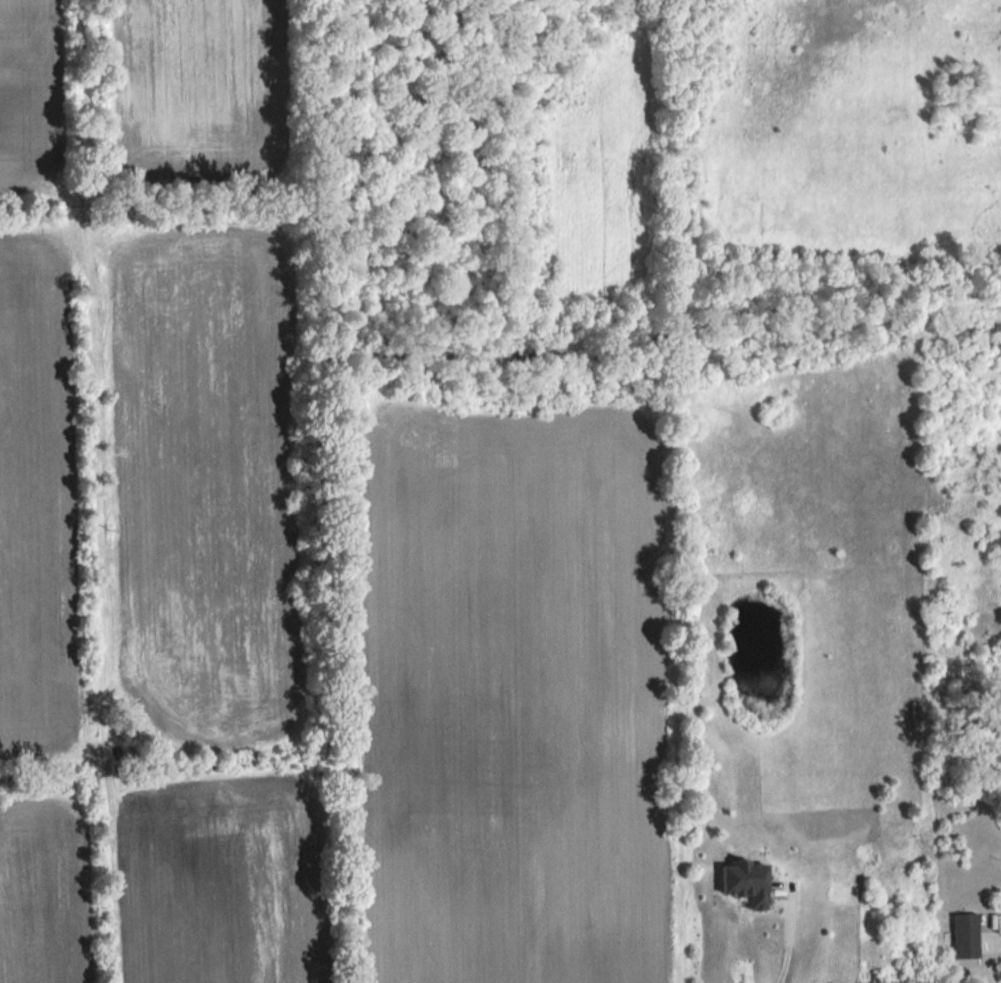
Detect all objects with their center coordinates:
crop: (196, 92)
crop: (29, 93)
crop: (202, 481)
crop: (38, 487)
crop: (506, 687)
crop: (219, 879)
building: (742, 882)
crop: (46, 891)
building: (964, 937)
road: (793, 939)
road: (998, 978)

